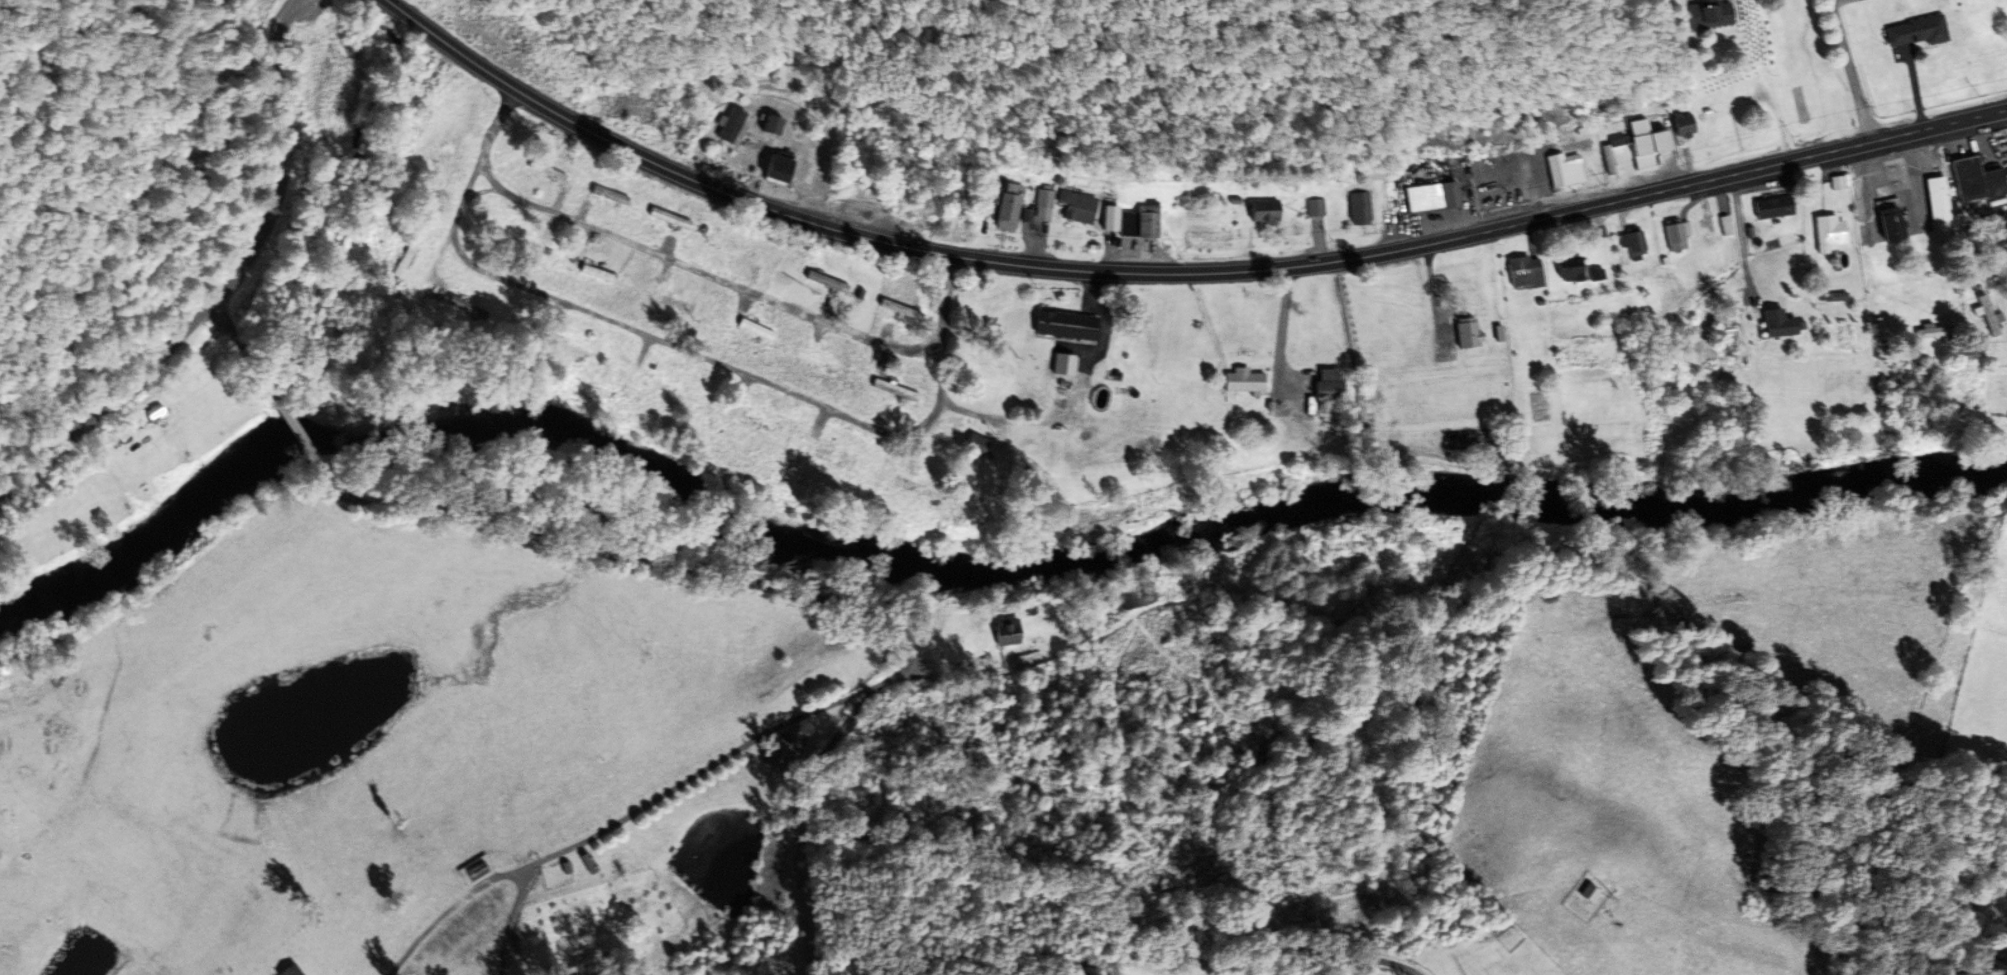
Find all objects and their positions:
building: (1718, 16)
building: (1920, 32)
road: (1850, 69)
building: (1690, 125)
building: (735, 126)
building: (778, 126)
building: (1653, 144)
road: (284, 153)
building: (1611, 160)
building: (783, 170)
building: (550, 171)
building: (1563, 171)
building: (1975, 181)
road: (481, 192)
building: (613, 196)
building: (1437, 197)
building: (1046, 199)
building: (1933, 200)
building: (1081, 206)
building: (1317, 207)
building: (1362, 208)
building: (1770, 208)
building: (1011, 210)
building: (1270, 212)
building: (673, 219)
building: (1115, 219)
building: (1145, 223)
building: (1884, 224)
building: (1827, 234)
building: (1672, 235)
building: (1639, 242)
road: (702, 271)
road: (1174, 273)
building: (1528, 273)
building: (1580, 273)
building: (830, 282)
building: (679, 303)
building: (905, 310)
building: (1987, 315)
building: (1774, 324)
building: (1070, 325)
building: (759, 329)
building: (1934, 332)
building: (1472, 334)
building: (575, 350)
road: (686, 350)
road: (252, 355)
building: (822, 362)
building: (1250, 381)
building: (663, 386)
building: (1334, 386)
building: (897, 390)
building: (159, 412)
road: (121, 414)
road: (976, 414)
building: (752, 420)
road: (304, 437)
building: (980, 445)
building: (914, 486)
river: (965, 583)
building: (1129, 602)
building: (1011, 633)
road: (848, 727)
building: (772, 756)
building: (592, 864)
building: (1593, 892)
building: (295, 970)

